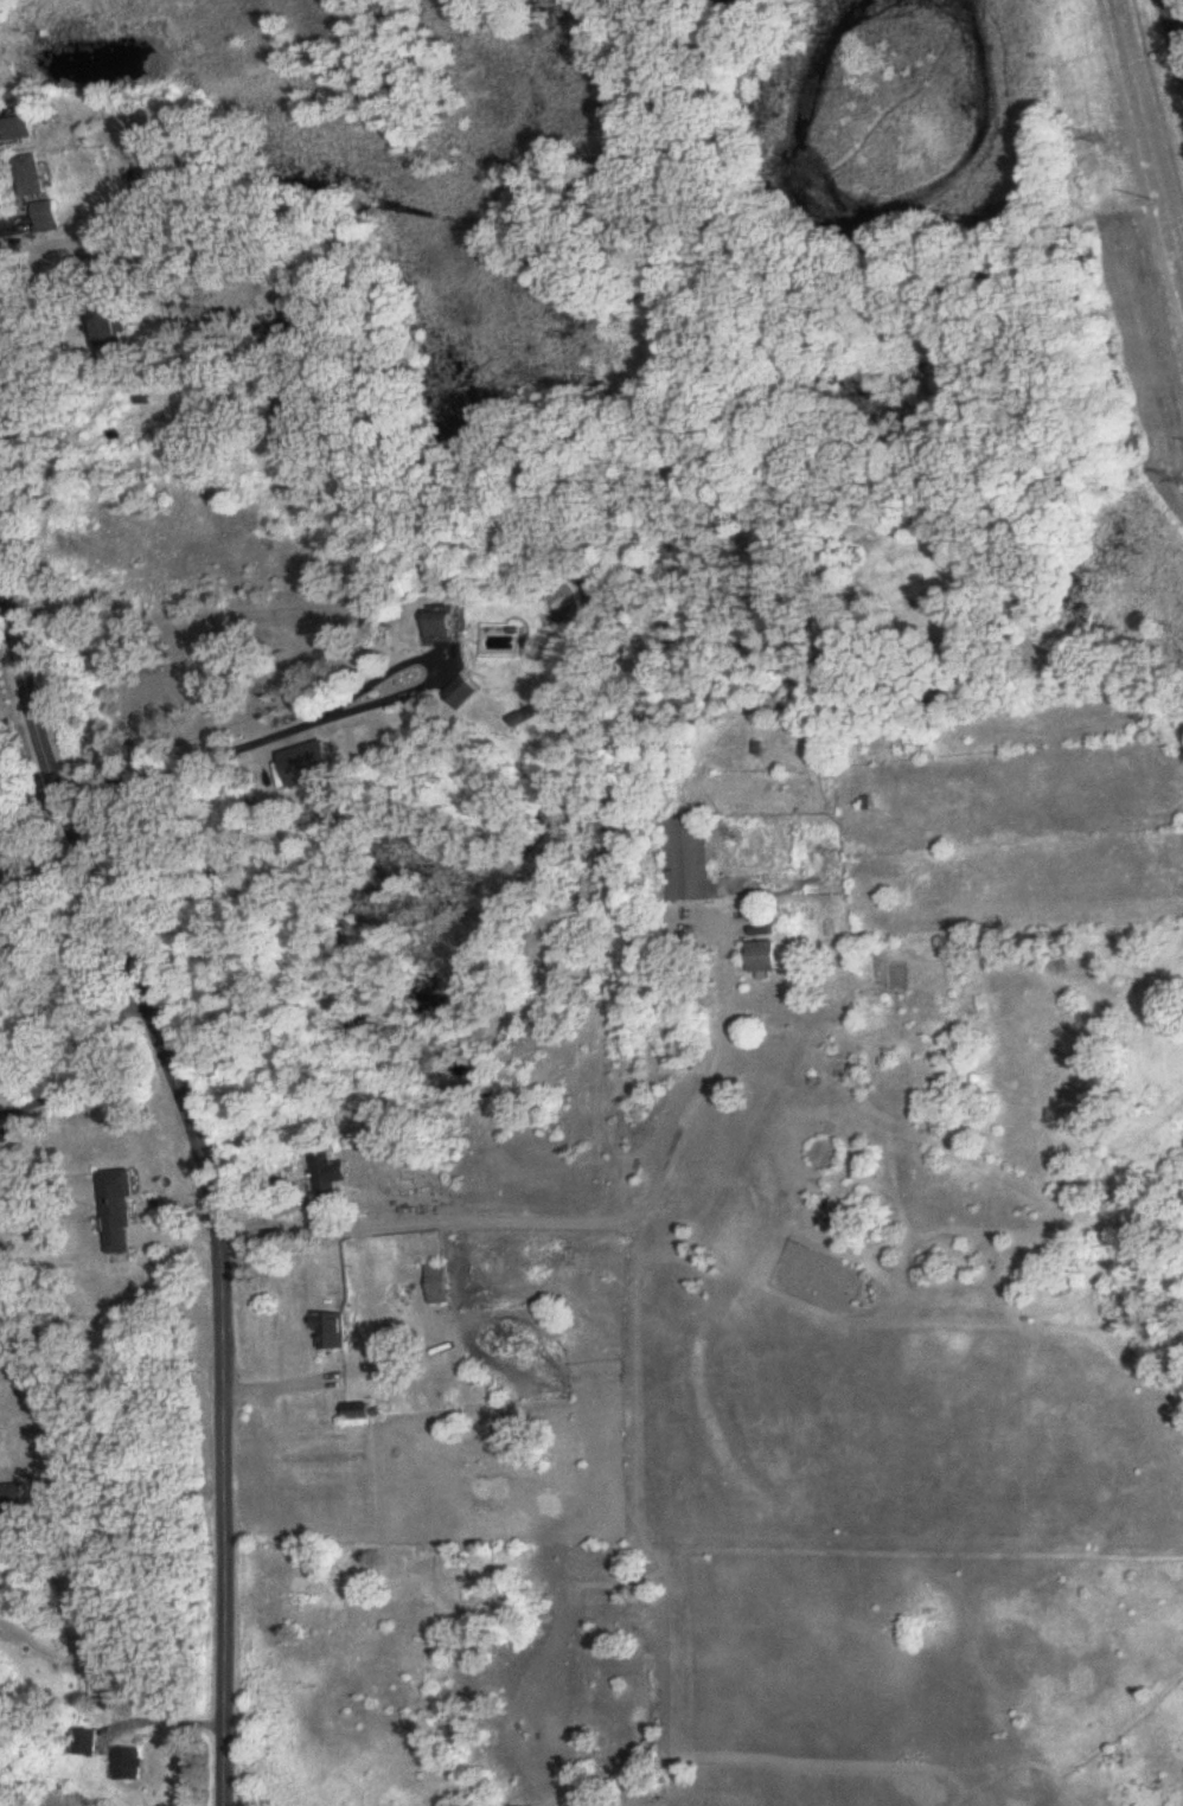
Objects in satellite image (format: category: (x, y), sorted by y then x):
railway: (1174, 33)
building: (20, 130)
power tower: (1108, 145)
building: (34, 178)
building: (49, 216)
road: (151, 249)
building: (110, 329)
building: (294, 334)
building: (437, 623)
building: (458, 694)
road: (232, 731)
building: (686, 860)
road: (40, 872)
building: (767, 958)
road: (76, 1055)
building: (857, 1077)
road: (215, 1165)
building: (330, 1179)
road: (580, 1210)
building: (121, 1211)
building: (439, 1285)
building: (332, 1332)
road: (305, 1369)
building: (455, 1398)
building: (359, 1413)
building: (12, 1499)
building: (84, 1743)
building: (129, 1765)

